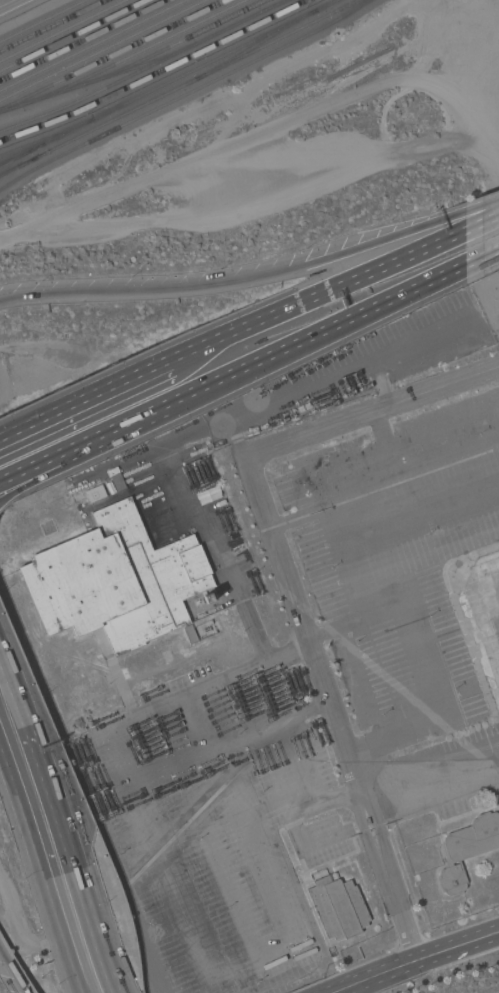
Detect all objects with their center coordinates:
road: (7, 3)
railway: (276, 7)
railway: (44, 21)
railway: (53, 26)
railway: (65, 31)
railway: (74, 36)
railway: (83, 40)
railway: (176, 44)
railway: (93, 45)
railway: (255, 46)
railway: (104, 50)
railway: (114, 55)
railway: (136, 55)
railway: (218, 59)
railway: (146, 69)
railway: (156, 74)
railway: (98, 81)
railway: (179, 88)
railway: (186, 95)
railway: (48, 138)
railway: (48, 142)
road: (485, 220)
road: (483, 257)
road: (238, 281)
road: (319, 295)
road: (271, 357)
road: (83, 400)
road: (372, 416)
road: (232, 439)
road: (384, 449)
road: (38, 466)
road: (38, 477)
building: (117, 482)
road: (180, 488)
road: (377, 489)
building: (95, 494)
road: (345, 563)
building: (116, 581)
building: (207, 598)
building: (493, 617)
building: (189, 634)
road: (284, 655)
road: (417, 668)
road: (321, 687)
road: (430, 780)
road: (139, 820)
road: (59, 838)
road: (303, 847)
building: (466, 850)
road: (40, 873)
building: (337, 907)
road: (406, 936)
road: (415, 959)
road: (11, 973)

